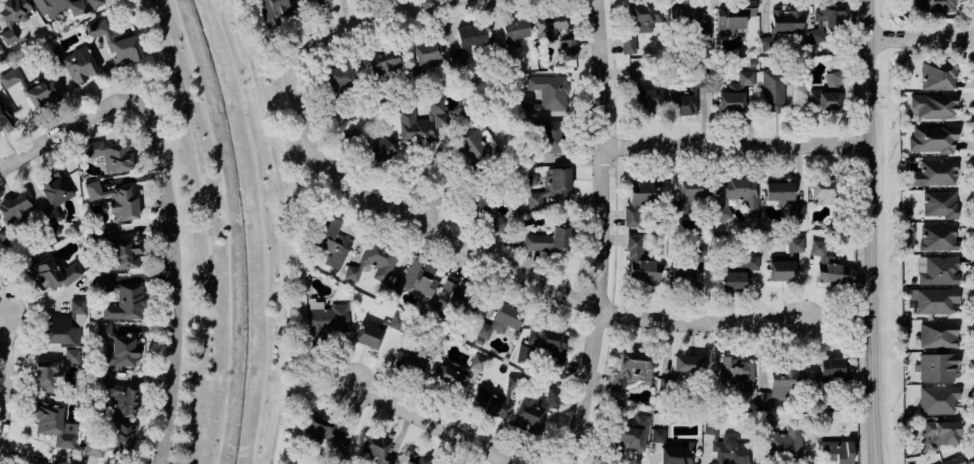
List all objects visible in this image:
building: (314, 2)
building: (95, 3)
building: (933, 5)
building: (59, 7)
building: (271, 10)
road: (383, 14)
building: (682, 16)
building: (12, 17)
building: (733, 17)
building: (826, 18)
building: (786, 20)
road: (972, 20)
building: (639, 21)
road: (971, 25)
building: (550, 26)
building: (513, 31)
road: (973, 38)
road: (922, 39)
building: (115, 43)
building: (466, 43)
building: (767, 44)
street lamp: (904, 47)
building: (566, 49)
road: (972, 51)
building: (0, 52)
building: (426, 55)
road: (972, 55)
building: (382, 60)
building: (78, 65)
building: (935, 74)
building: (9, 77)
building: (338, 77)
building: (773, 88)
building: (41, 91)
building: (549, 91)
building: (826, 92)
building: (643, 93)
building: (735, 93)
building: (931, 106)
building: (5, 114)
building: (421, 123)
road: (70, 128)
building: (552, 136)
building: (352, 137)
building: (931, 138)
building: (476, 146)
road: (735, 146)
building: (379, 151)
building: (109, 154)
street lamp: (849, 155)
building: (933, 172)
road: (310, 174)
building: (550, 187)
building: (822, 190)
building: (742, 192)
building: (54, 195)
building: (689, 195)
building: (782, 196)
building: (639, 198)
building: (115, 200)
road: (431, 202)
building: (475, 203)
building: (938, 204)
building: (723, 211)
building: (493, 223)
road: (282, 224)
road: (204, 229)
road: (871, 232)
road: (600, 233)
road: (617, 233)
park: (239, 234)
building: (937, 237)
building: (549, 240)
building: (332, 242)
building: (795, 244)
road: (478, 252)
building: (124, 254)
building: (373, 261)
building: (750, 262)
building: (825, 262)
building: (732, 264)
building: (780, 270)
building: (936, 270)
building: (52, 273)
building: (680, 276)
road: (179, 279)
building: (414, 280)
building: (732, 281)
building: (449, 296)
building: (120, 298)
building: (932, 300)
building: (77, 312)
building: (326, 319)
building: (397, 322)
building: (498, 322)
building: (61, 330)
building: (367, 335)
building: (937, 335)
building: (116, 346)
building: (545, 348)
road: (3, 349)
building: (71, 357)
building: (477, 362)
building: (408, 363)
building: (935, 366)
building: (834, 368)
building: (631, 370)
building: (680, 371)
building: (738, 372)
building: (44, 375)
building: (451, 375)
road: (325, 378)
road: (301, 379)
building: (513, 382)
building: (782, 385)
building: (120, 398)
building: (935, 399)
building: (487, 402)
building: (534, 408)
building: (53, 424)
road: (431, 424)
building: (321, 432)
building: (632, 432)
building: (940, 432)
building: (658, 435)
building: (111, 441)
building: (785, 444)
building: (376, 448)
building: (729, 450)
building: (836, 450)
building: (415, 459)
road: (24, 460)
building: (951, 460)

